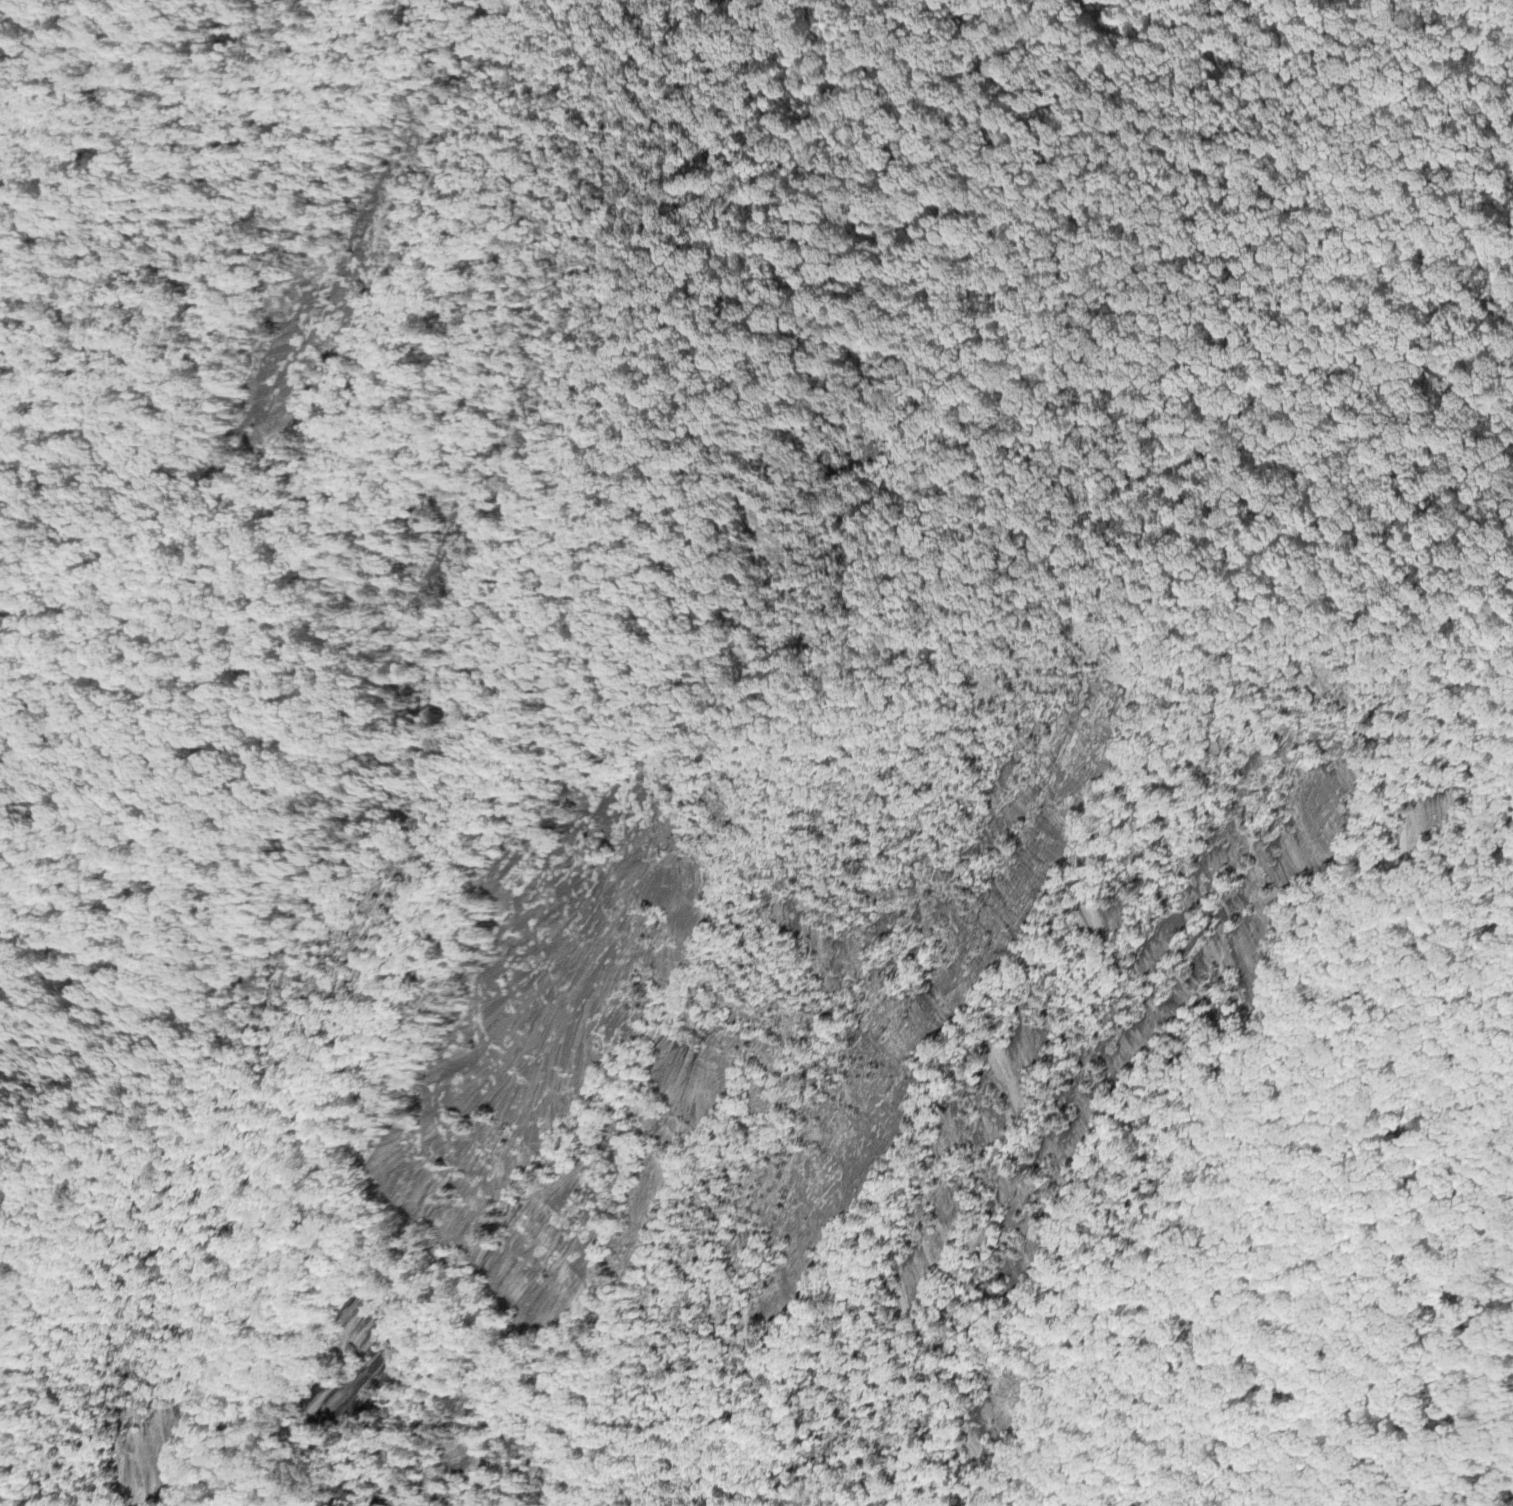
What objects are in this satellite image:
road: (1360, 149)
road: (697, 306)

